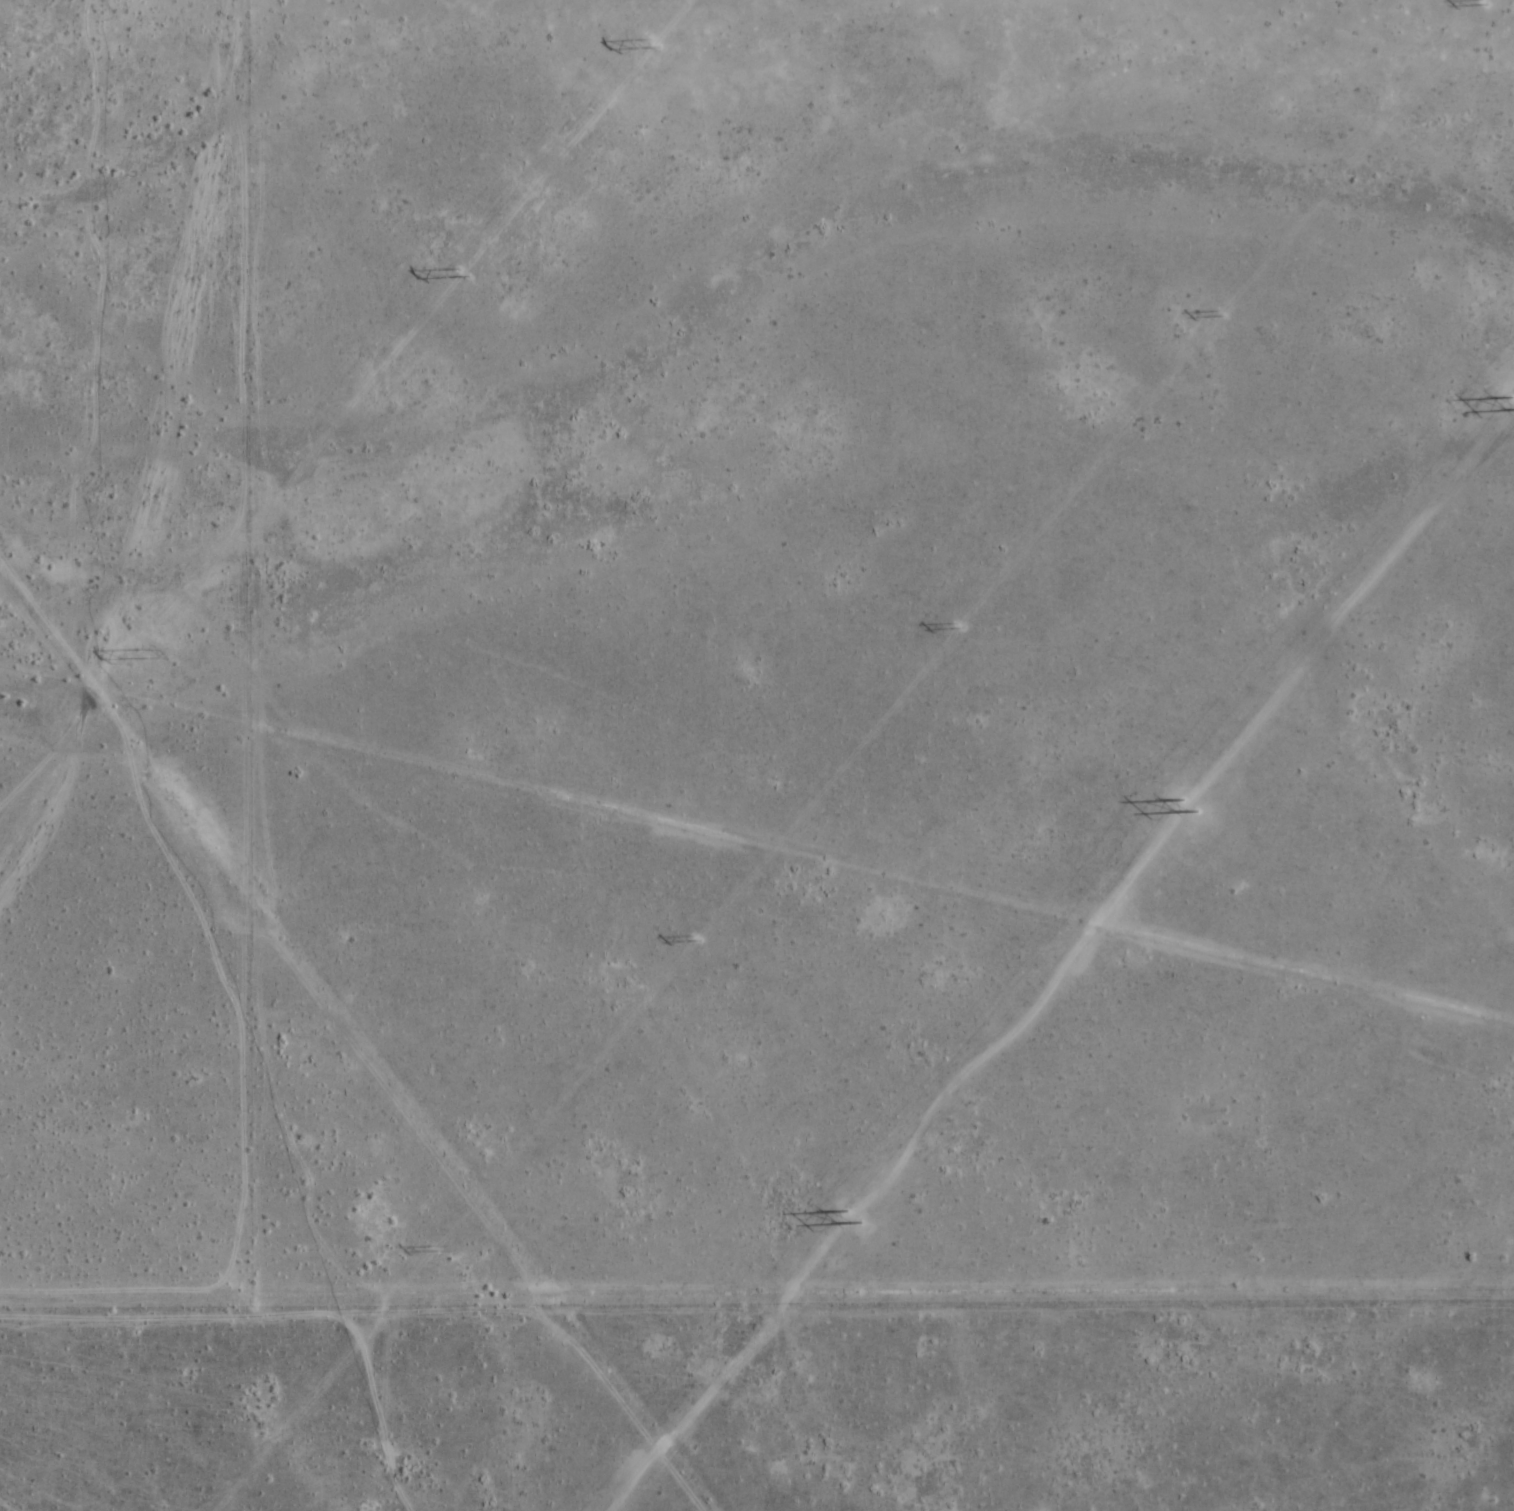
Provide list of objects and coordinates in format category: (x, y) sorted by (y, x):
power tower: (1484, 3)
power tower: (651, 40)
power tower: (459, 273)
power tower: (1220, 314)
power tower: (1510, 402)
power tower: (958, 625)
power tower: (138, 657)
power tower: (1182, 806)
power tower: (693, 938)
power tower: (842, 1218)
power tower: (430, 1249)

